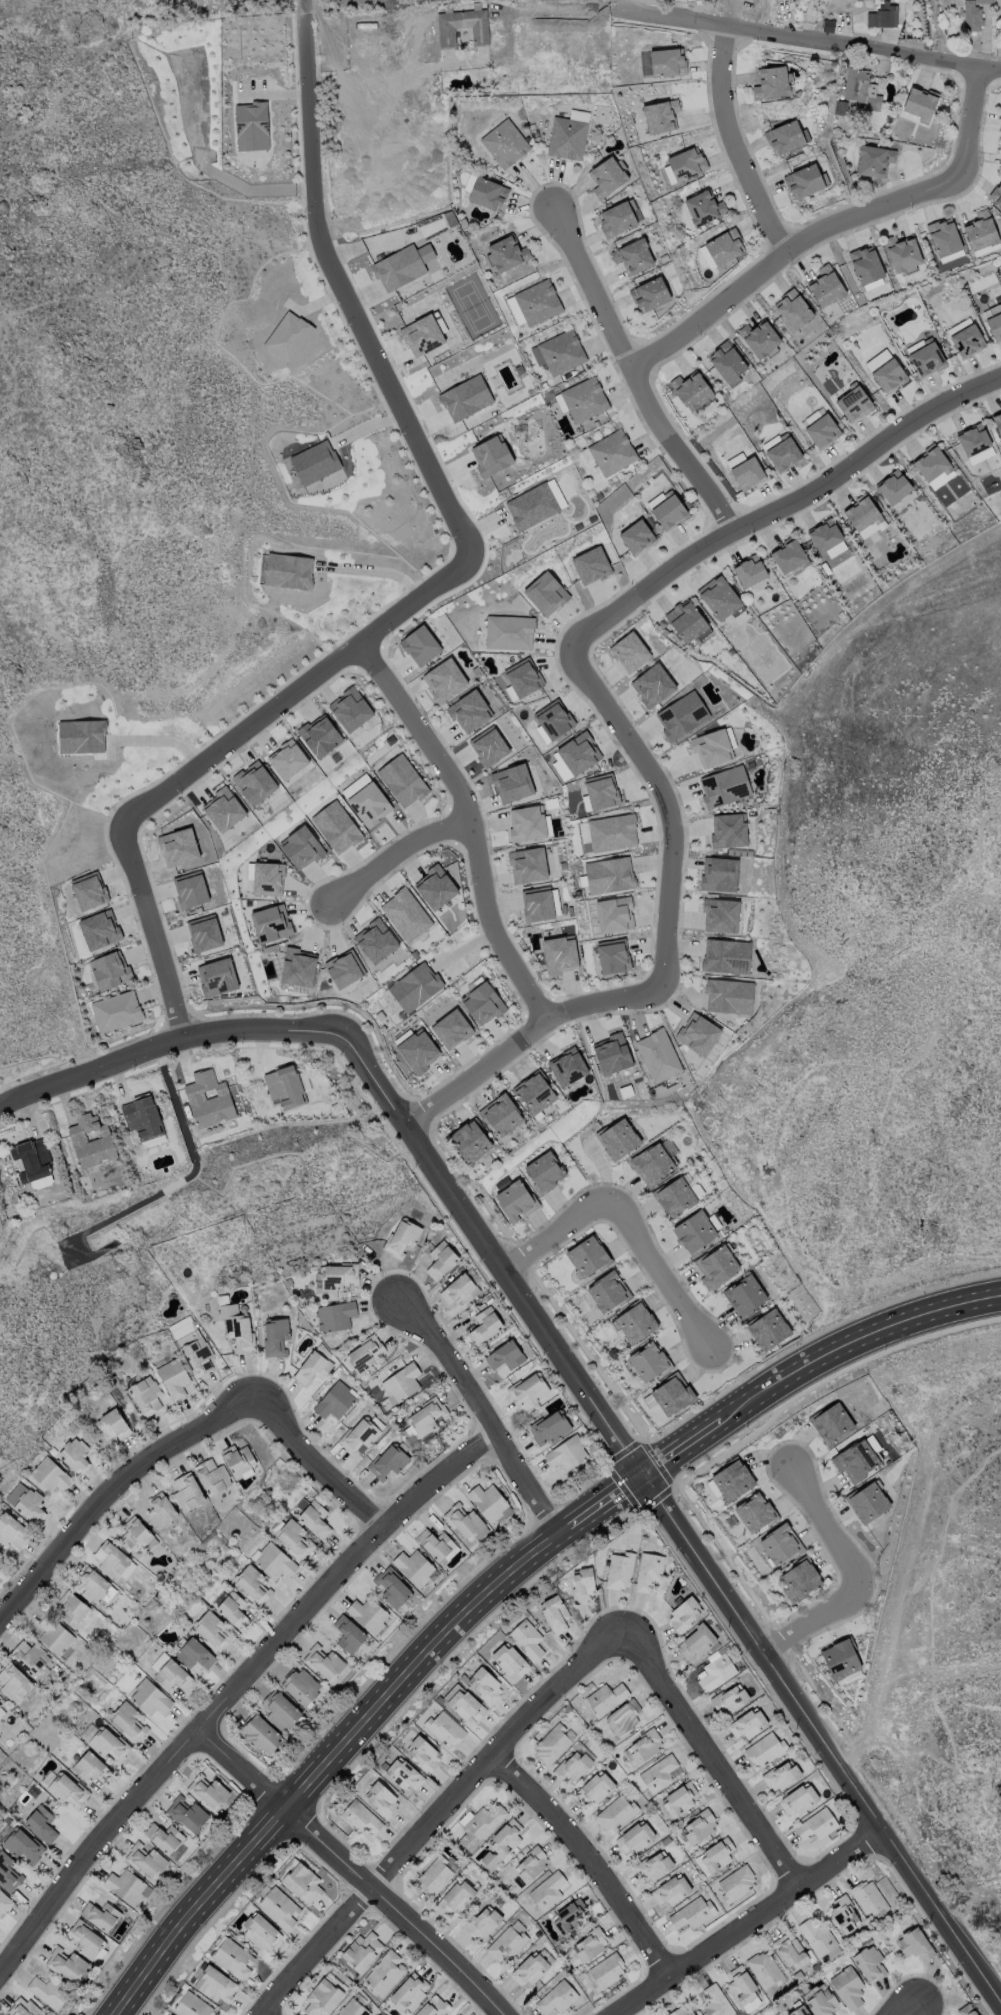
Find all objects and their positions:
building: (985, 2)
road: (29, 7)
road: (303, 7)
road: (566, 11)
building: (883, 17)
building: (972, 17)
building: (461, 26)
building: (829, 26)
road: (816, 40)
building: (368, 47)
building: (666, 61)
building: (770, 82)
building: (861, 90)
building: (921, 105)
building: (659, 115)
building: (250, 125)
building: (785, 136)
building: (566, 137)
building: (504, 143)
road: (730, 143)
building: (1000, 145)
building: (873, 160)
building: (685, 163)
building: (605, 176)
building: (802, 181)
building: (488, 193)
building: (996, 196)
building: (703, 207)
building: (617, 217)
road: (828, 222)
building: (981, 232)
building: (944, 238)
building: (723, 246)
building: (506, 252)
building: (901, 252)
building: (632, 256)
building: (705, 257)
building: (865, 264)
building: (403, 266)
building: (824, 286)
road: (342, 293)
building: (649, 294)
building: (536, 301)
building: (792, 309)
building: (991, 310)
building: (995, 328)
building: (423, 333)
building: (287, 336)
building: (759, 338)
building: (966, 340)
building: (557, 352)
building: (924, 356)
building: (725, 361)
road: (160, 369)
road: (631, 371)
building: (888, 375)
building: (690, 389)
building: (464, 398)
building: (583, 399)
building: (853, 402)
building: (811, 417)
building: (997, 421)
building: (821, 431)
building: (972, 439)
building: (611, 452)
building: (492, 454)
building: (783, 454)
building: (734, 459)
building: (313, 462)
building: (746, 473)
building: (893, 486)
building: (531, 506)
road: (783, 506)
building: (668, 510)
building: (863, 516)
building: (824, 535)
building: (635, 536)
building: (787, 555)
building: (590, 565)
building: (287, 570)
building: (748, 570)
road: (377, 572)
building: (544, 592)
building: (718, 598)
building: (686, 621)
building: (508, 632)
building: (419, 644)
building: (628, 651)
building: (522, 677)
building: (443, 679)
building: (652, 685)
road: (300, 689)
building: (349, 709)
building: (468, 711)
building: (681, 714)
building: (553, 719)
road: (420, 730)
building: (319, 735)
building: (80, 736)
road: (163, 739)
building: (487, 746)
building: (711, 748)
building: (577, 753)
building: (287, 759)
building: (401, 780)
building: (253, 782)
building: (511, 782)
building: (723, 786)
building: (600, 790)
building: (368, 804)
road: (664, 804)
building: (223, 808)
building: (526, 822)
building: (335, 826)
building: (727, 829)
building: (607, 832)
building: (177, 846)
building: (300, 847)
road: (398, 855)
building: (526, 864)
building: (718, 873)
building: (608, 874)
building: (267, 878)
building: (434, 886)
building: (189, 889)
building: (88, 890)
building: (536, 904)
building: (405, 914)
building: (613, 914)
building: (719, 915)
building: (270, 923)
building: (98, 929)
road: (494, 929)
road: (152, 931)
building: (203, 932)
building: (375, 940)
building: (558, 954)
building: (612, 955)
building: (725, 955)
building: (298, 967)
building: (343, 968)
building: (109, 969)
building: (216, 976)
building: (414, 986)
building: (728, 996)
road: (602, 1000)
building: (482, 1003)
building: (115, 1010)
road: (865, 1011)
building: (450, 1028)
building: (697, 1033)
road: (159, 1043)
building: (417, 1050)
building: (611, 1053)
building: (657, 1055)
road: (850, 1064)
building: (566, 1066)
road: (478, 1073)
building: (283, 1086)
building: (533, 1092)
building: (207, 1098)
building: (500, 1114)
building: (141, 1116)
building: (617, 1138)
building: (90, 1140)
building: (469, 1141)
building: (33, 1161)
building: (651, 1163)
building: (544, 1171)
building: (674, 1196)
building: (514, 1200)
road: (631, 1224)
building: (695, 1230)
building: (401, 1236)
road: (994, 1253)
building: (587, 1255)
building: (440, 1259)
building: (716, 1266)
building: (335, 1278)
building: (458, 1289)
building: (607, 1291)
building: (744, 1295)
road: (934, 1313)
building: (335, 1315)
building: (635, 1322)
building: (484, 1325)
building: (235, 1326)
building: (768, 1329)
building: (274, 1336)
building: (364, 1354)
building: (504, 1355)
building: (196, 1356)
building: (647, 1361)
building: (312, 1367)
building: (172, 1377)
building: (400, 1383)
building: (527, 1388)
building: (671, 1394)
building: (145, 1395)
road: (754, 1397)
building: (334, 1400)
road: (478, 1412)
building: (425, 1416)
building: (833, 1422)
building: (111, 1424)
building: (549, 1426)
building: (358, 1436)
building: (566, 1453)
building: (73, 1454)
building: (855, 1459)
building: (237, 1460)
road: (315, 1461)
building: (387, 1461)
building: (49, 1474)
building: (211, 1476)
building: (732, 1479)
building: (186, 1491)
road: (113, 1492)
building: (221, 1494)
road: (608, 1499)
road: (956, 1500)
building: (867, 1501)
building: (24, 1502)
building: (487, 1502)
building: (160, 1510)
road: (672, 1512)
building: (754, 1512)
building: (313, 1519)
building: (462, 1520)
building: (11, 1531)
building: (134, 1533)
road: (919, 1535)
building: (292, 1538)
building: (434, 1543)
building: (779, 1543)
building: (110, 1559)
building: (273, 1561)
building: (413, 1566)
building: (127, 1570)
building: (647, 1570)
building: (619, 1571)
road: (337, 1574)
road: (854, 1577)
building: (800, 1578)
building: (251, 1583)
building: (581, 1583)
building: (93, 1585)
building: (391, 1587)
building: (70, 1608)
building: (232, 1609)
building: (554, 1613)
building: (367, 1614)
building: (683, 1615)
building: (210, 1630)
building: (347, 1633)
building: (53, 1634)
building: (526, 1639)
building: (696, 1641)
building: (193, 1653)
building: (839, 1658)
building: (29, 1659)
building: (323, 1662)
building: (508, 1662)
building: (715, 1672)
road: (944, 1674)
building: (172, 1675)
building: (13, 1682)
building: (300, 1685)
building: (484, 1685)
building: (149, 1697)
building: (605, 1697)
building: (728, 1700)
building: (462, 1703)
building: (1, 1708)
building: (279, 1710)
building: (622, 1717)
building: (127, 1720)
building: (747, 1723)
building: (444, 1728)
building: (259, 1734)
building: (551, 1743)
building: (107, 1744)
building: (644, 1745)
building: (765, 1748)
building: (422, 1753)
road: (708, 1756)
road: (331, 1757)
building: (571, 1766)
building: (90, 1767)
building: (403, 1773)
building: (657, 1773)
building: (781, 1775)
building: (594, 1787)
building: (66, 1789)
building: (207, 1791)
building: (798, 1798)
building: (381, 1799)
building: (678, 1799)
building: (615, 1812)
building: (186, 1814)
road: (436, 1815)
building: (359, 1817)
building: (40, 1824)
building: (479, 1824)
building: (815, 1824)
building: (698, 1826)
building: (163, 1837)
building: (634, 1837)
building: (500, 1843)
building: (23, 1845)
road: (91, 1848)
building: (716, 1854)
road: (590, 1858)
building: (145, 1860)
building: (530, 1864)
building: (652, 1866)
road: (354, 1868)
building: (8, 1873)
building: (434, 1876)
building: (302, 1882)
building: (735, 1883)
building: (126, 1886)
building: (546, 1890)
building: (670, 1890)
building: (456, 1896)
building: (868, 1898)
building: (4, 1901)
building: (278, 1907)
building: (690, 1913)
building: (843, 1913)
building: (100, 1915)
building: (568, 1915)
road: (744, 1920)
building: (481, 1922)
building: (260, 1931)
building: (816, 1936)
building: (84, 1939)
building: (506, 1941)
building: (914, 1944)
building: (589, 1945)
building: (361, 1951)
building: (790, 1952)
building: (232, 1958)
building: (868, 1963)
building: (66, 1964)
building: (528, 1969)
building: (764, 1969)
building: (605, 1971)
building: (384, 1972)
building: (214, 1984)
building: (740, 1984)
building: (846, 1987)
building: (46, 1991)
building: (408, 1991)
building: (322, 1997)
building: (555, 1997)
building: (715, 2001)
building: (821, 2002)
building: (750, 2004)
building: (191, 2005)
building: (22, 2007)
building: (432, 2007)
road: (915, 2007)
building: (351, 2008)
building: (965, 2009)
building: (680, 2010)
building: (798, 2011)
building: (457, 2014)

